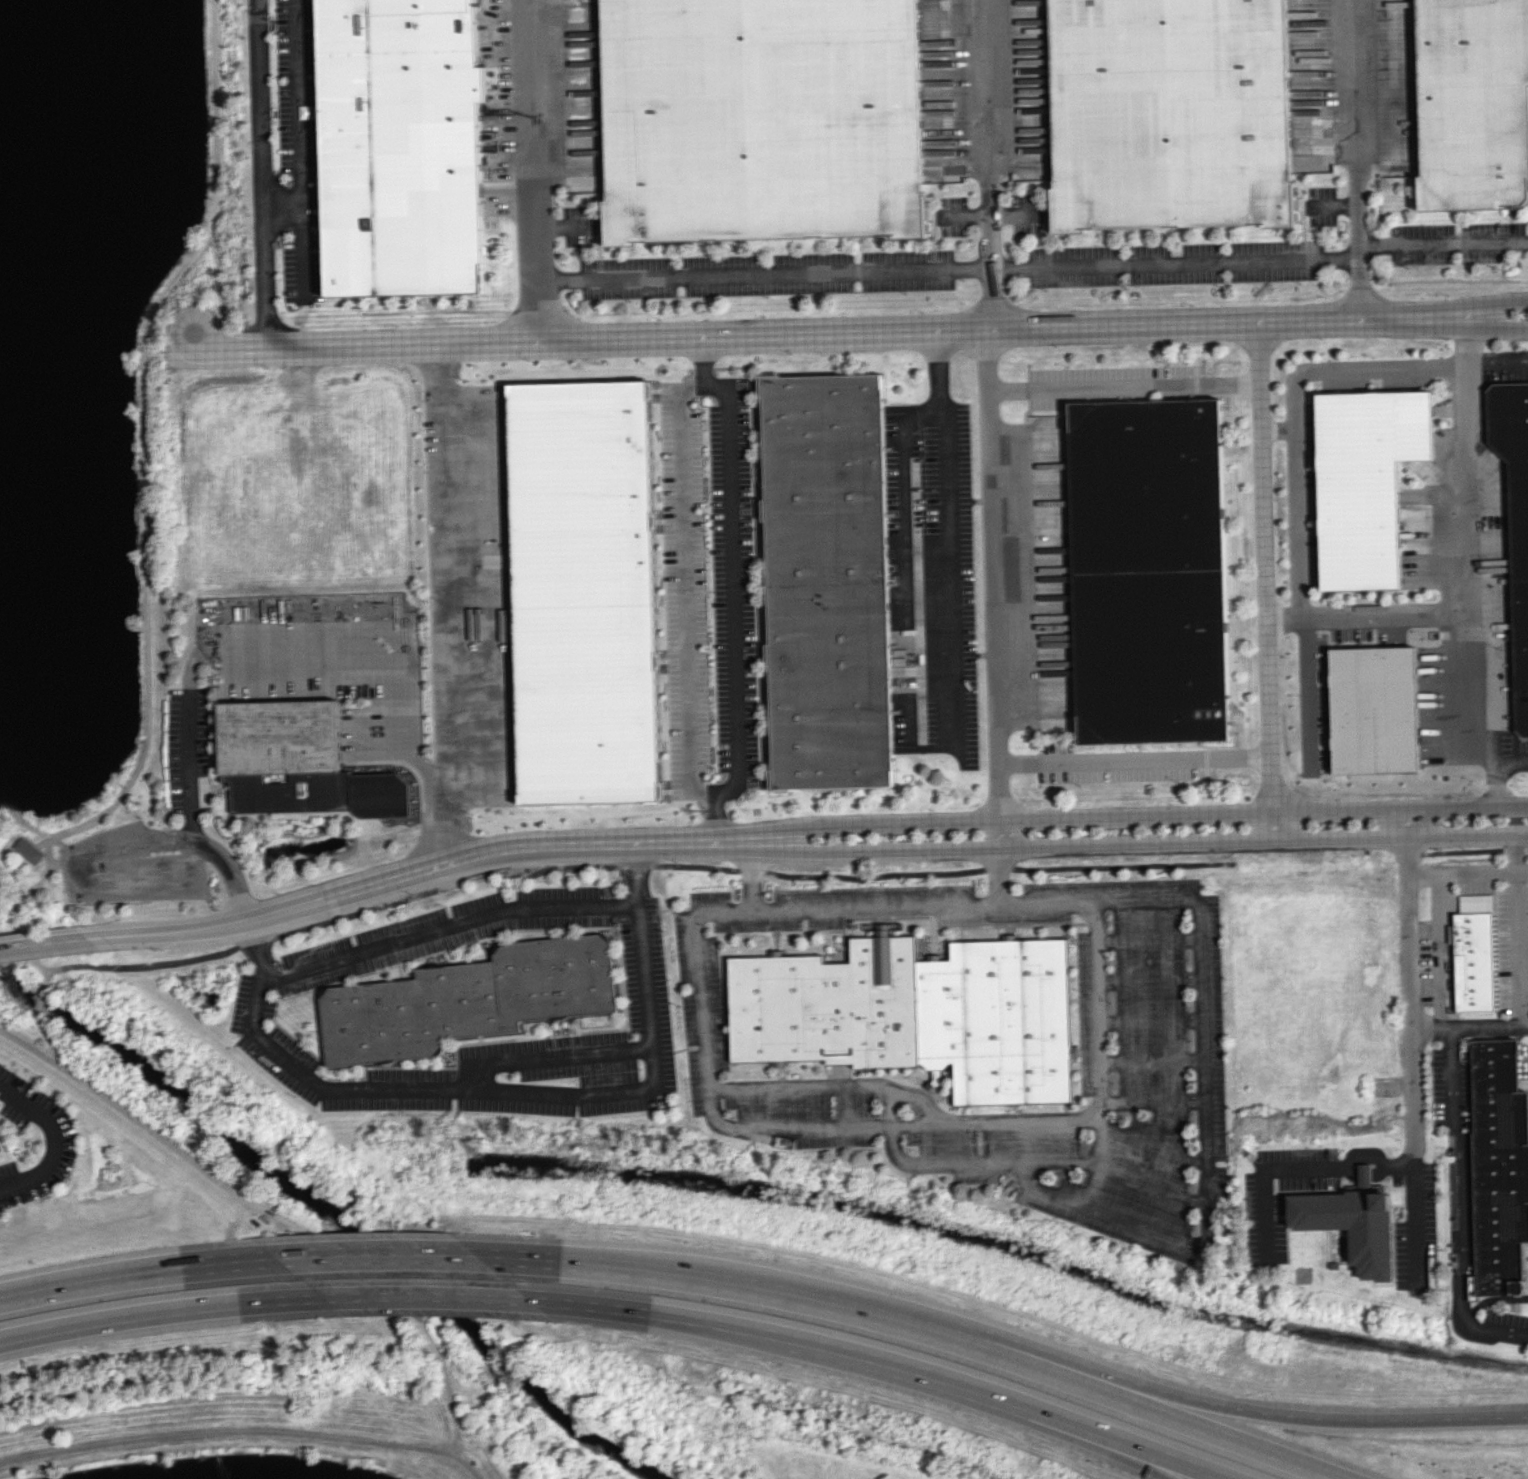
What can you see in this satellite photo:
building: (1473, 103)
building: (1170, 114)
road: (213, 117)
building: (762, 119)
building: (403, 147)
road: (300, 148)
road: (1356, 159)
road: (982, 163)
road: (529, 170)
road: (263, 174)
road: (283, 209)
road: (1031, 263)
road: (224, 290)
road: (1498, 303)
road: (206, 319)
road: (1498, 324)
road: (839, 331)
road: (702, 355)
road: (1499, 362)
road: (1336, 370)
road: (1125, 385)
building: (1366, 482)
building: (1515, 519)
road: (1299, 523)
road: (944, 531)
road: (1464, 560)
road: (1266, 567)
building: (1150, 571)
road: (995, 574)
road: (146, 581)
building: (828, 581)
road: (731, 584)
road: (684, 589)
building: (586, 592)
road: (448, 602)
road: (385, 666)
road: (1495, 692)
building: (285, 756)
road: (1511, 757)
road: (1138, 758)
parking lot: (191, 780)
road: (1266, 813)
road: (715, 819)
road: (1414, 822)
road: (876, 825)
road: (1275, 826)
road: (1005, 834)
road: (691, 838)
road: (1266, 839)
road: (876, 849)
building: (29, 850)
road: (1513, 853)
road: (65, 862)
road: (230, 870)
road: (635, 870)
road: (13, 872)
road: (1467, 874)
road: (155, 875)
road: (360, 887)
road: (868, 908)
road: (15, 933)
road: (42, 943)
road: (1517, 949)
road: (1440, 951)
road: (153, 961)
building: (1479, 962)
road: (1409, 989)
building: (472, 999)
road: (650, 1009)
building: (920, 1014)
road: (36, 1048)
road: (547, 1057)
road: (55, 1141)
building: (1, 1153)
road: (1365, 1165)
building: (1501, 1172)
road: (1459, 1205)
road: (257, 1206)
road: (1418, 1218)
building: (1356, 1227)
road: (382, 1257)
road: (566, 1264)
road: (140, 1275)
road: (428, 1295)
road: (777, 1295)
road: (629, 1309)
road: (161, 1311)
road: (866, 1354)
road: (1125, 1399)
road: (1210, 1402)
road: (229, 1433)
road: (1118, 1437)
road: (1087, 1438)
road: (469, 1468)

